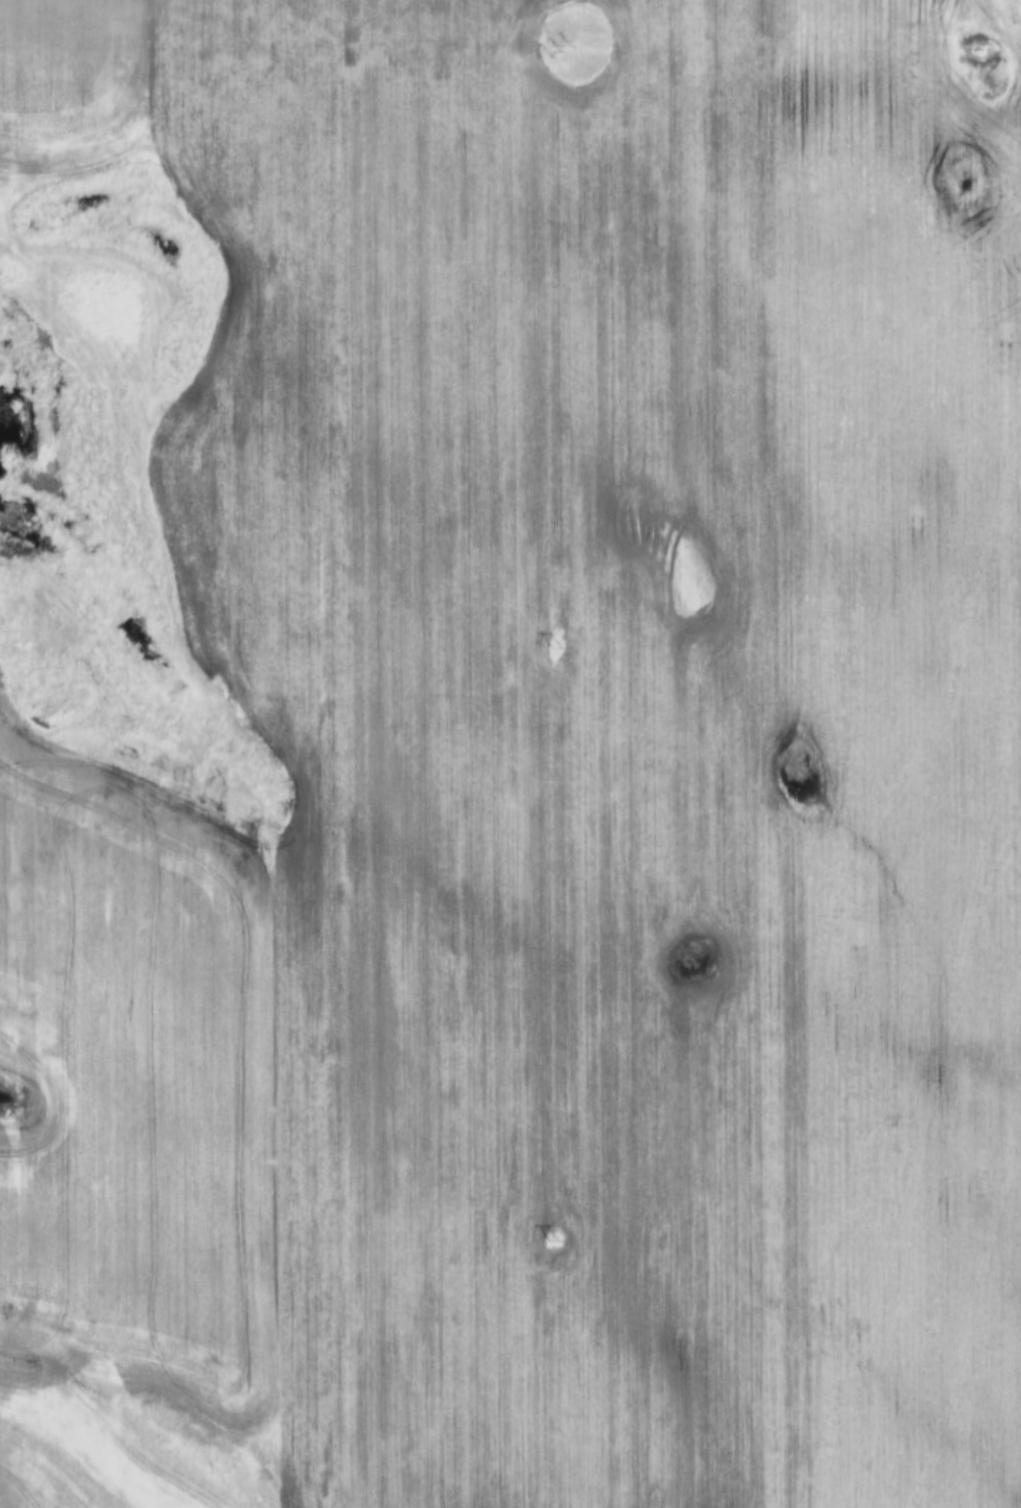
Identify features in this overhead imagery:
power tower: (558, 48)
power tower: (552, 649)
power tower: (550, 1241)

